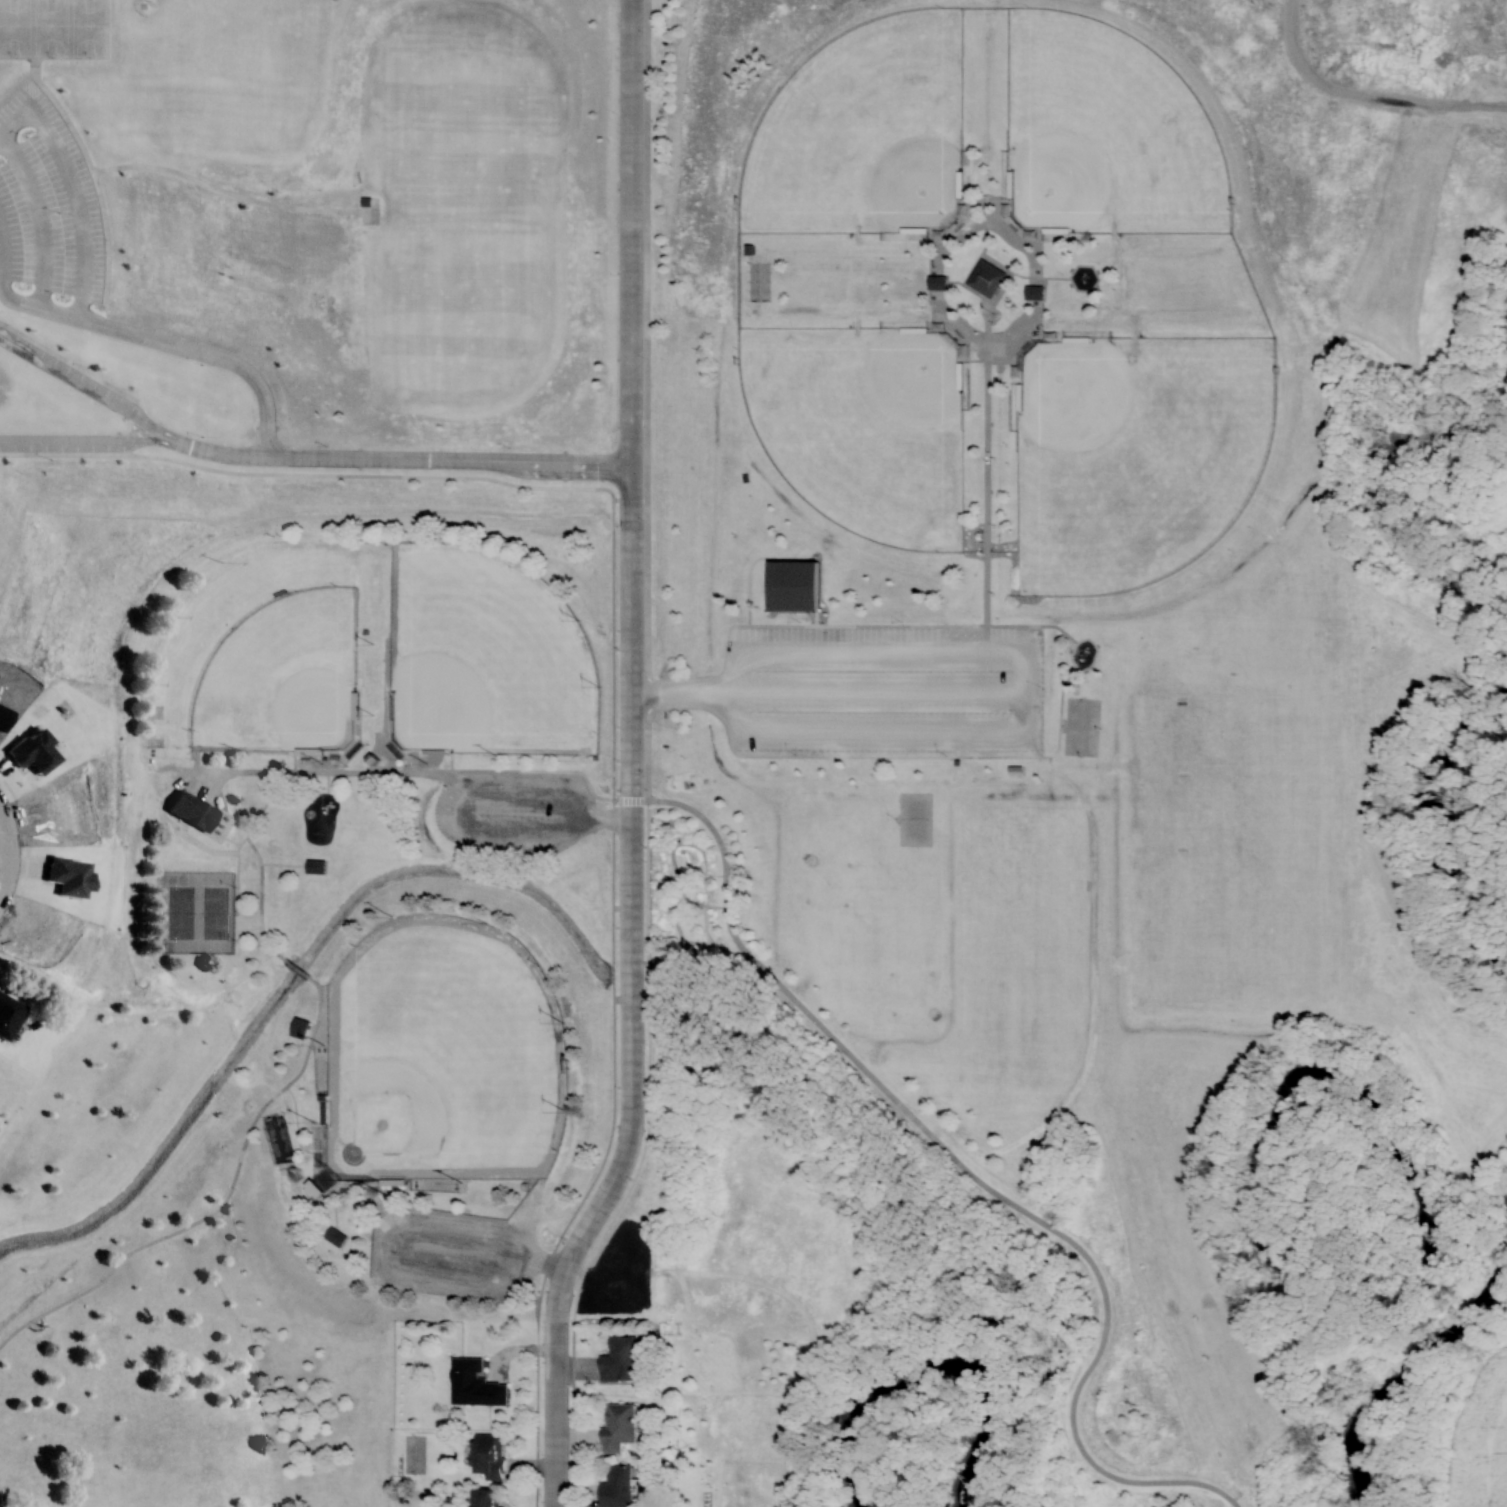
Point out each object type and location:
road: (54, 31)
road: (42, 63)
park: (863, 133)
park: (1104, 133)
road: (79, 177)
road: (46, 215)
road: (8, 252)
building: (987, 279)
building: (938, 283)
building: (1035, 293)
road: (176, 345)
road: (82, 380)
park: (863, 425)
road: (83, 448)
park: (1134, 455)
road: (399, 462)
building: (794, 586)
park: (259, 656)
park: (484, 657)
road: (836, 697)
road: (745, 701)
park: (714, 747)
road: (640, 762)
building: (915, 804)
building: (192, 811)
road: (243, 839)
road: (8, 849)
road: (259, 901)
park: (197, 913)
road: (296, 970)
building: (8, 1015)
park: (442, 1055)
road: (971, 1172)
building: (313, 1189)
road: (218, 1206)
building: (334, 1236)
building: (622, 1358)
building: (475, 1383)
building: (618, 1426)
building: (488, 1455)
building: (617, 1487)
building: (488, 1497)

